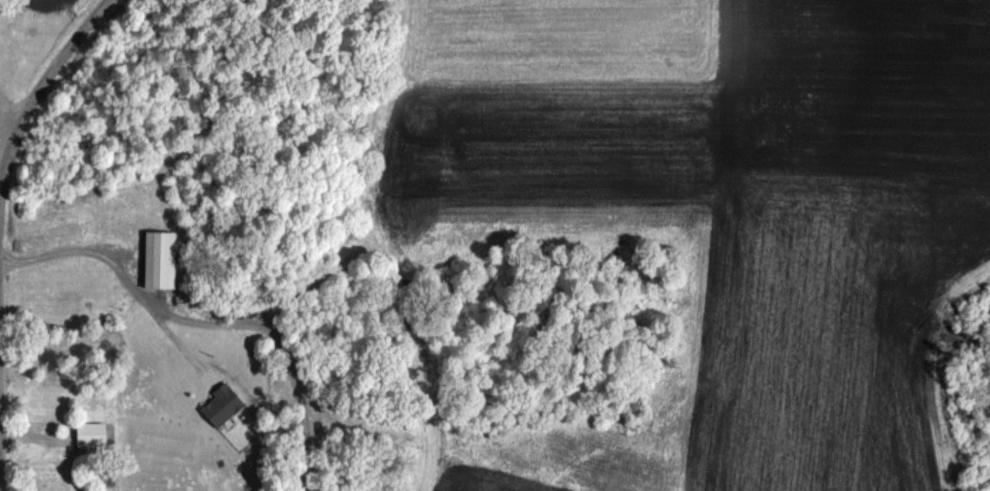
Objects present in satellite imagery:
road: (51, 72)
building: (159, 260)
road: (121, 277)
building: (90, 435)
building: (48, 467)
road: (0, 468)

